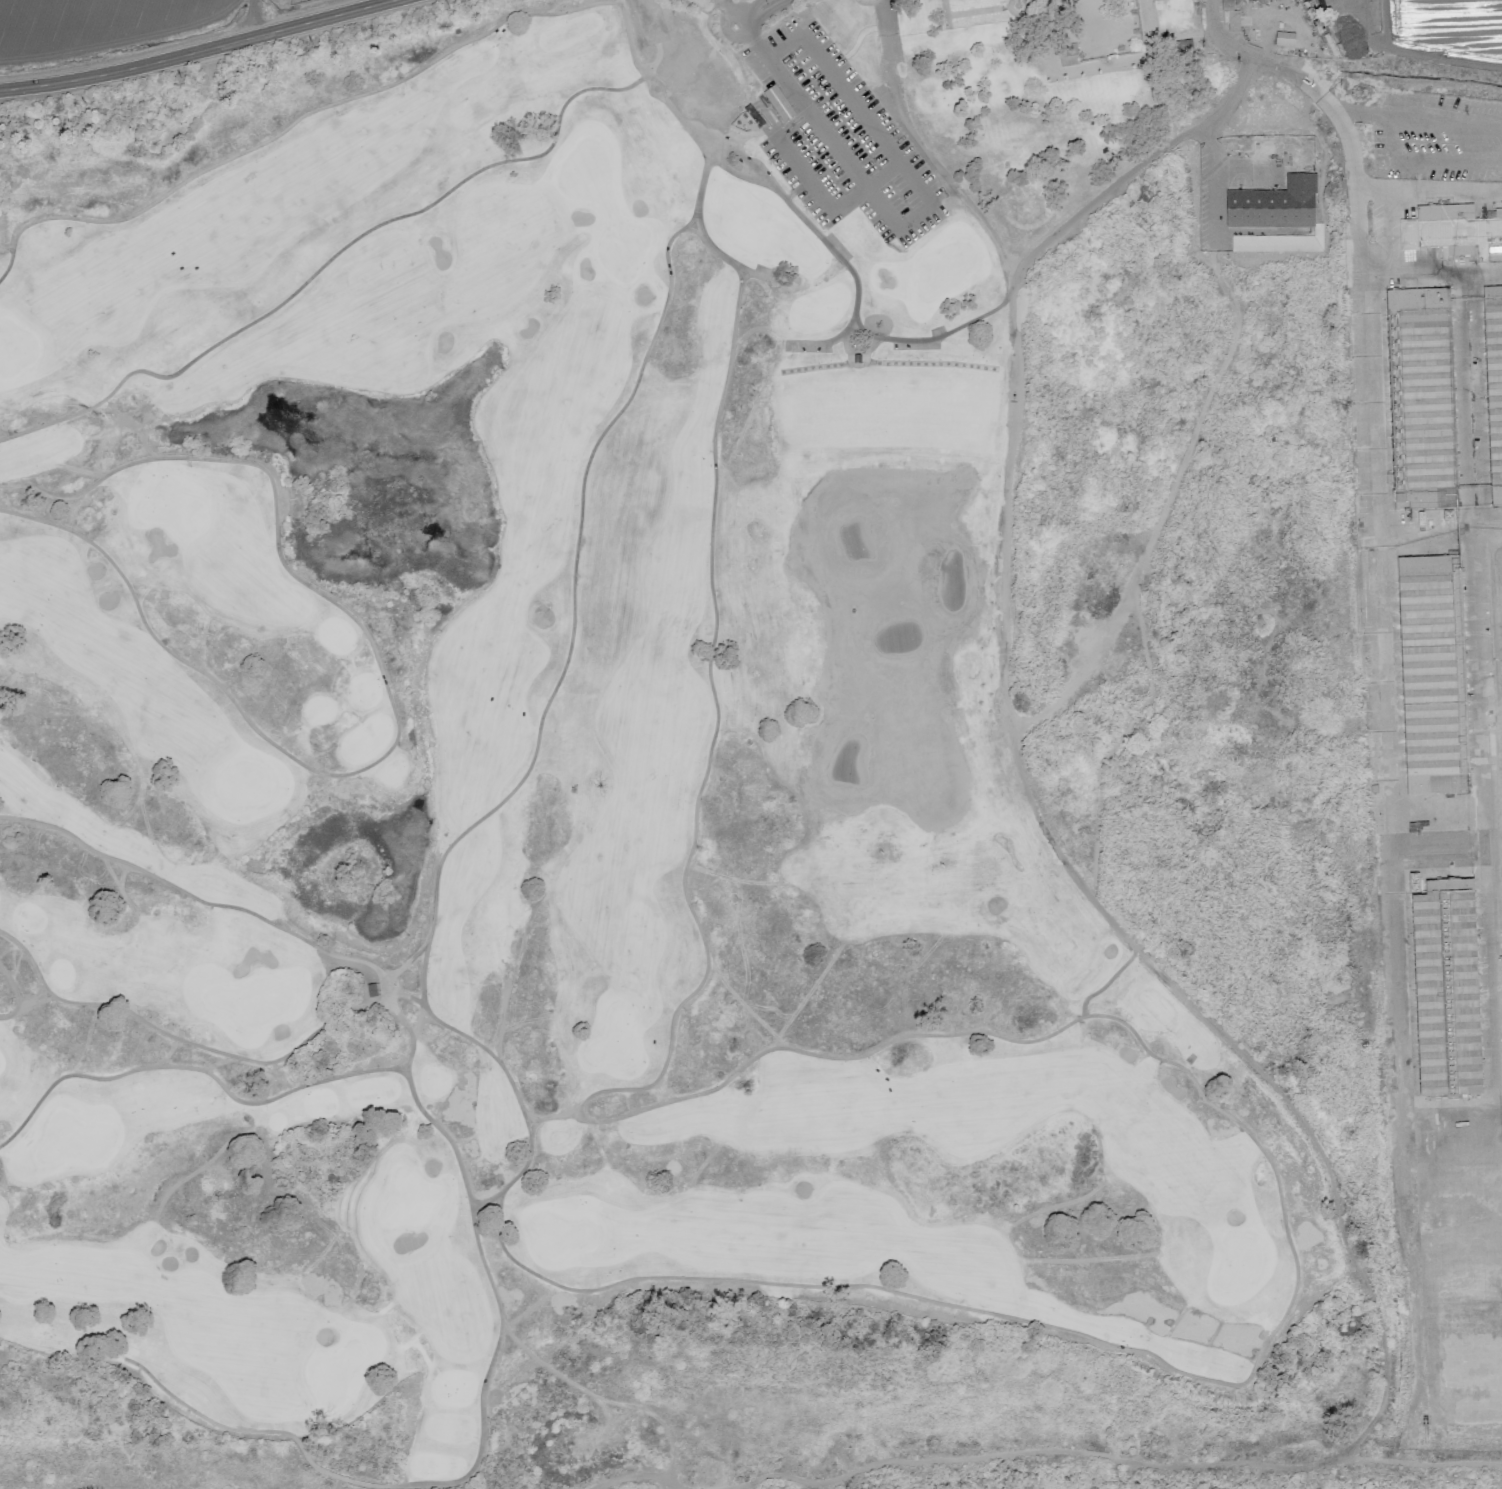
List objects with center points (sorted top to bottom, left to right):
road: (721, 4)
road: (749, 8)
building: (1230, 17)
crop: (106, 20)
road: (884, 25)
building: (1284, 39)
road: (858, 44)
road: (207, 53)
road: (642, 71)
road: (1301, 77)
park: (1083, 97)
building: (775, 109)
road: (868, 121)
road: (816, 122)
parking lot: (842, 141)
road: (939, 170)
road: (806, 179)
road: (1214, 181)
road: (867, 189)
road: (1429, 189)
building: (1274, 205)
building: (1457, 231)
building: (1407, 234)
building: (1279, 243)
road: (1038, 247)
road: (1431, 275)
building: (1494, 388)
building: (1424, 399)
building: (1431, 673)
road: (389, 700)
crop: (1449, 715)
park: (552, 748)
road: (1390, 836)
road: (15, 993)
road: (381, 999)
road: (194, 1073)
road: (65, 1353)
road: (622, 1405)
road: (484, 1445)
road: (1155, 1463)
road: (630, 1476)

